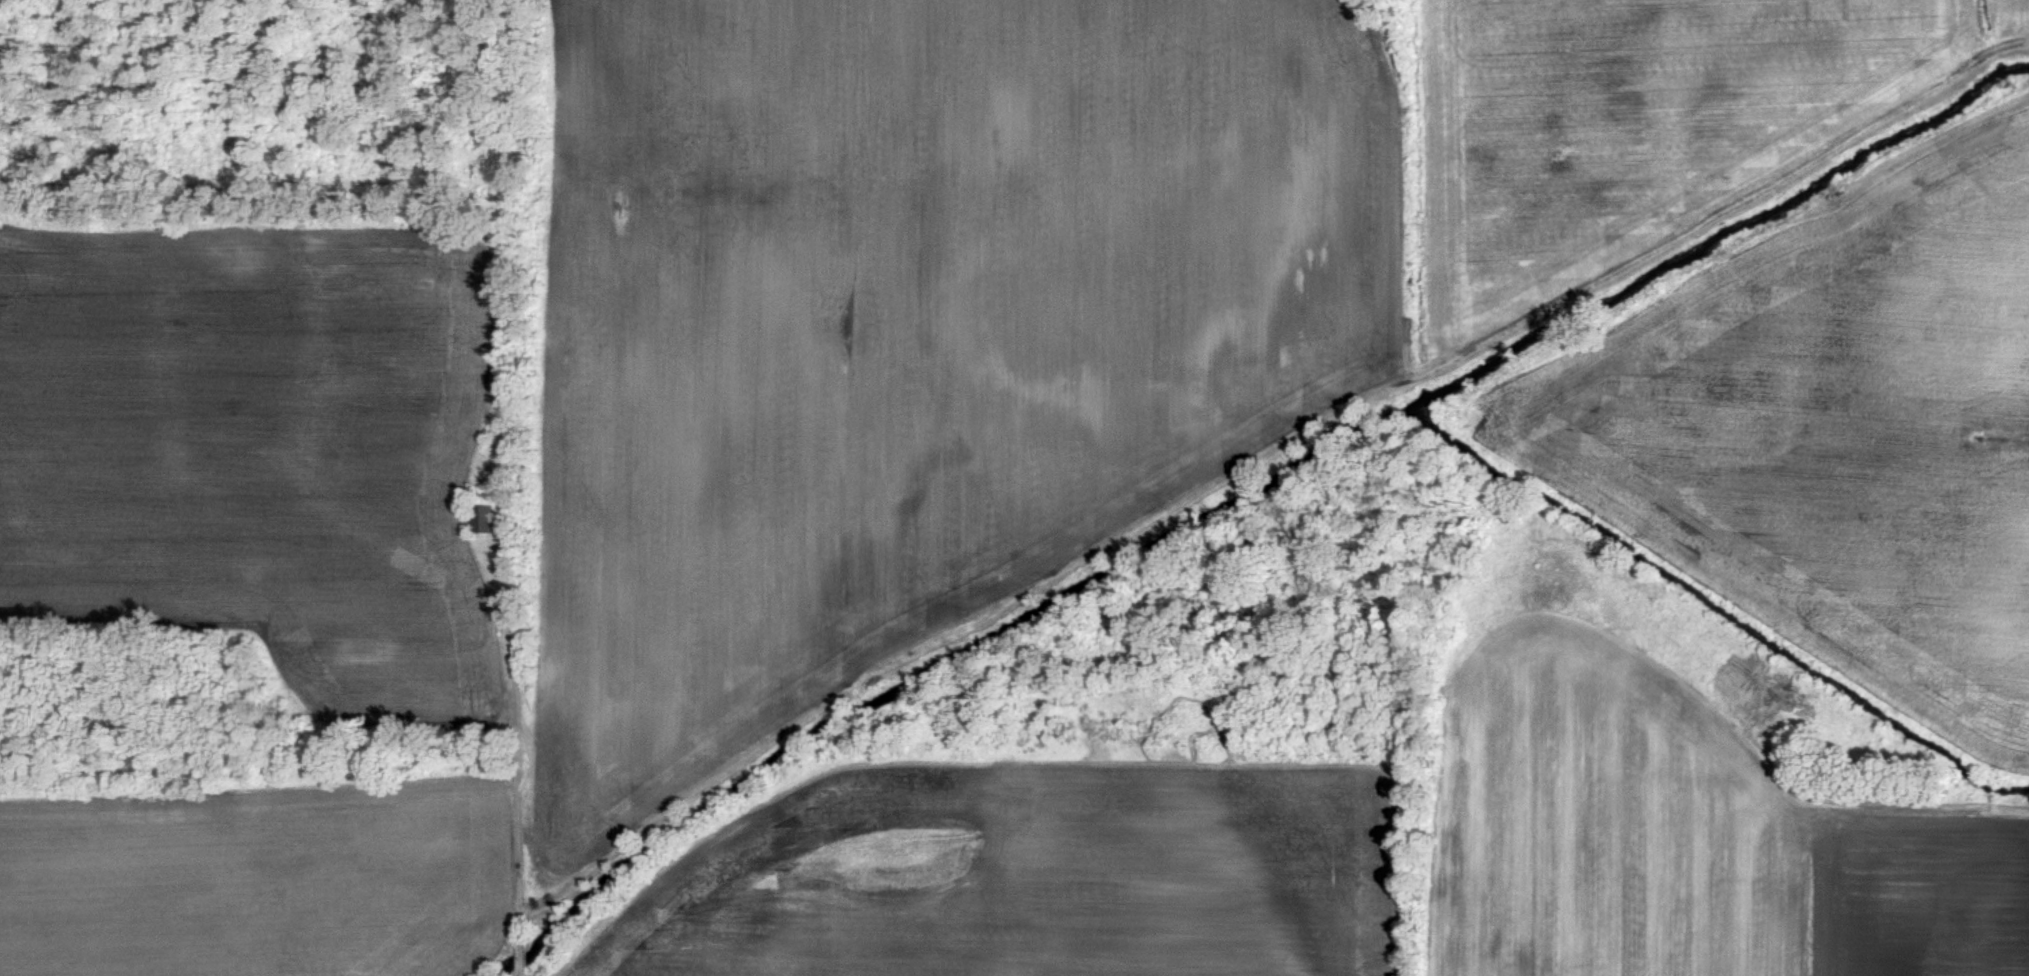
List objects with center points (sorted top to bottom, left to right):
road: (519, 780)

